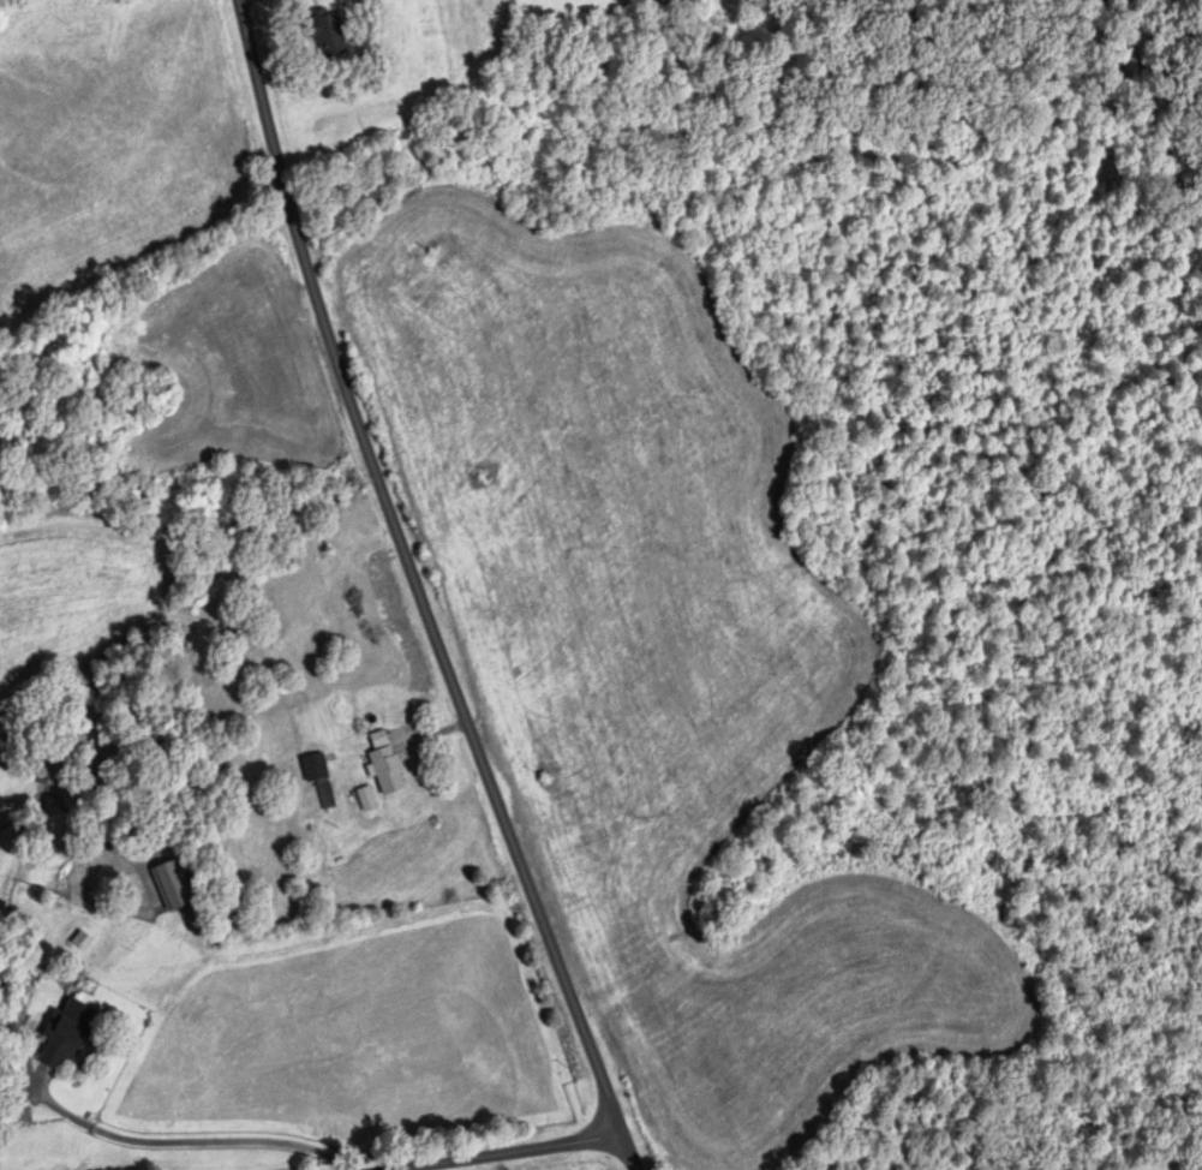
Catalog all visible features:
building: (327, 34)
road: (418, 591)
building: (384, 765)
building: (313, 769)
building: (171, 885)
building: (66, 1034)
road: (193, 1141)
road: (506, 1152)

